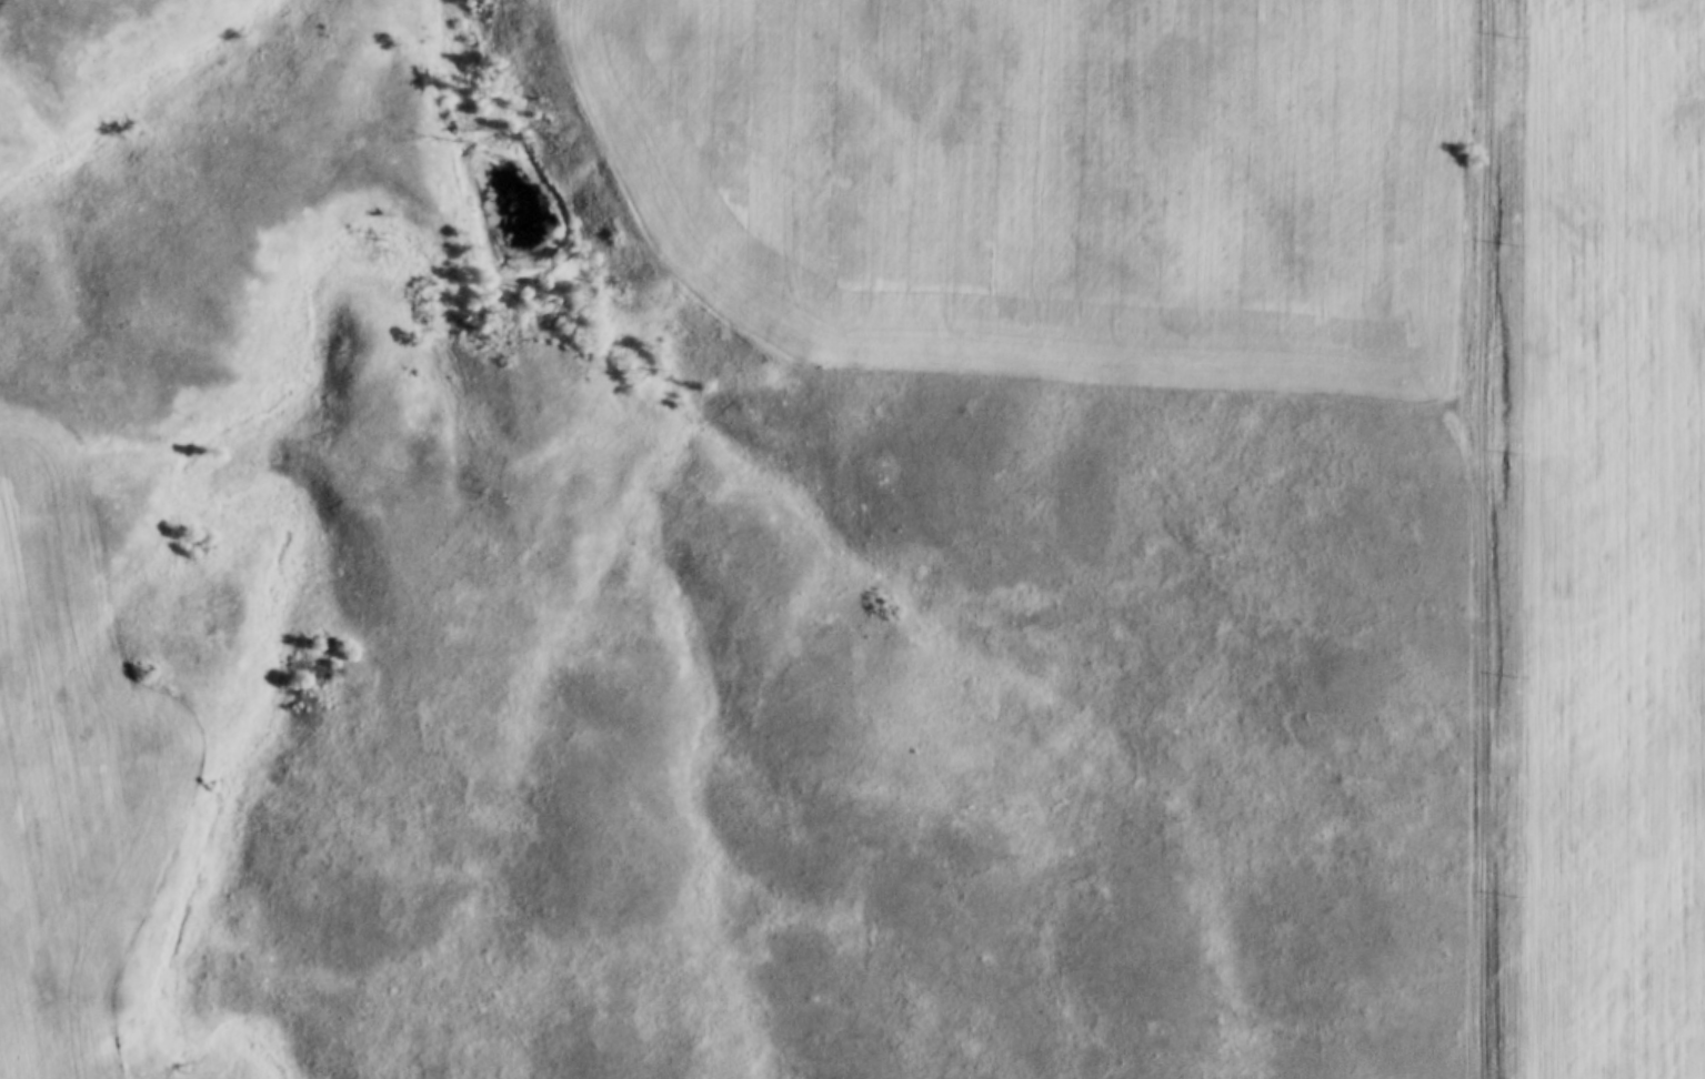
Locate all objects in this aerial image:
road: (1485, 538)
road: (360, 645)

